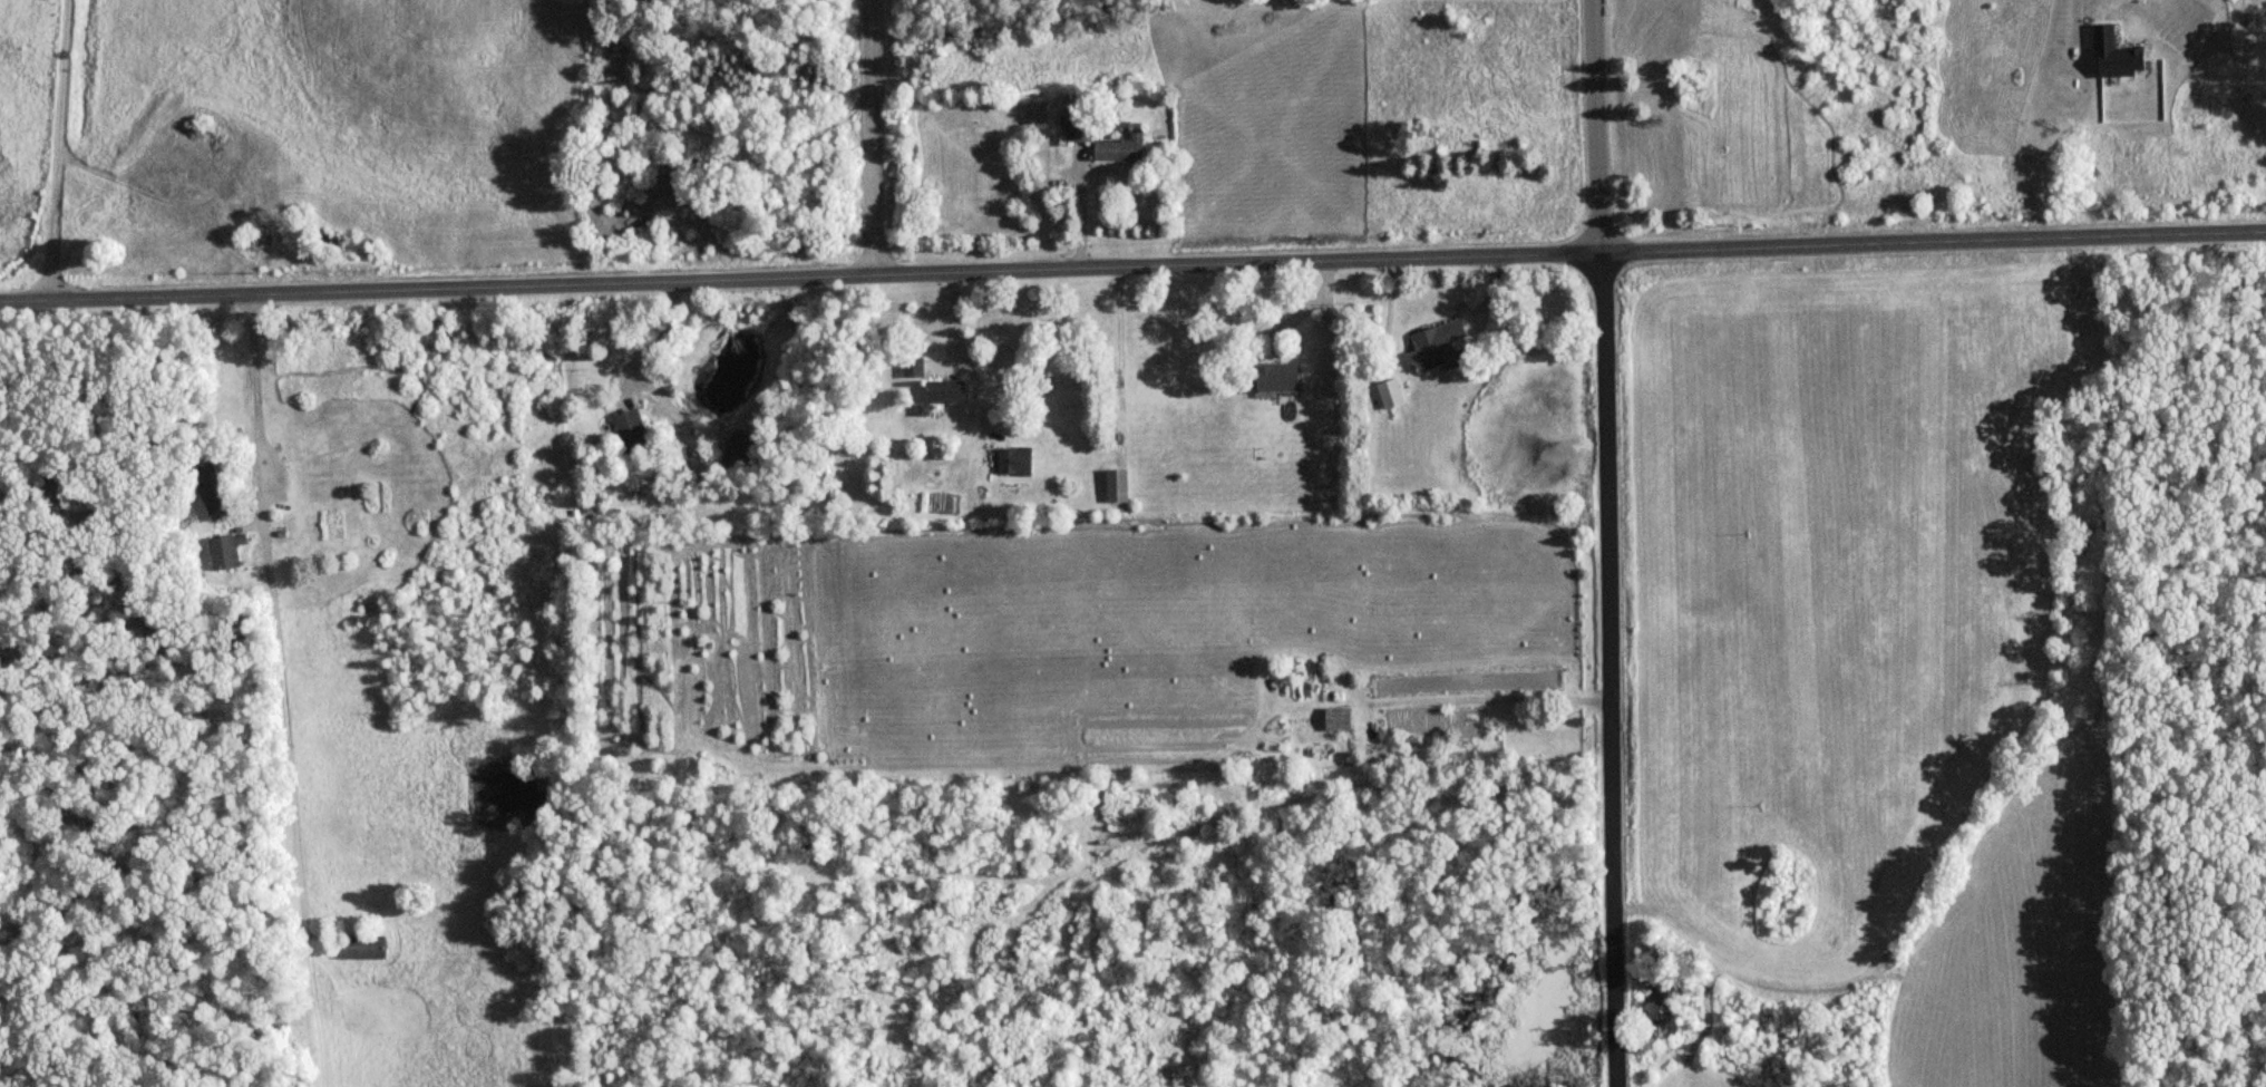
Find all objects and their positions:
road: (1597, 126)
building: (1080, 127)
road: (881, 138)
building: (1122, 147)
road: (57, 149)
road: (1079, 212)
road: (1132, 269)
road: (1302, 313)
road: (659, 338)
building: (1435, 344)
building: (915, 366)
building: (1281, 377)
building: (951, 390)
building: (638, 430)
building: (739, 449)
building: (1018, 459)
building: (1119, 486)
building: (216, 491)
building: (230, 550)
road: (270, 600)
road: (1609, 670)
road: (1489, 700)
building: (1339, 717)
building: (366, 944)

